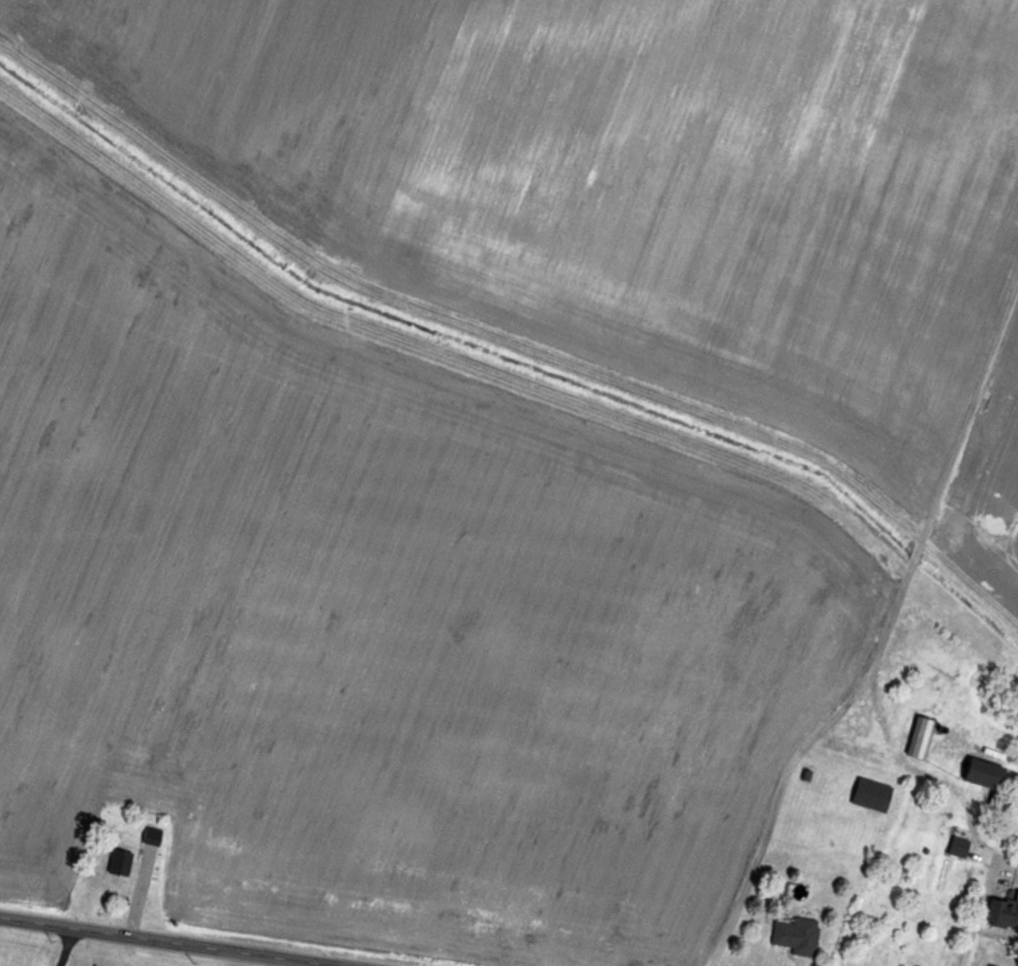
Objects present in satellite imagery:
crop: (623, 178)
crop: (992, 474)
building: (920, 738)
building: (985, 774)
building: (872, 795)
building: (958, 848)
building: (120, 863)
building: (1003, 912)
road: (973, 932)
building: (797, 936)
road: (149, 947)
road: (67, 951)

